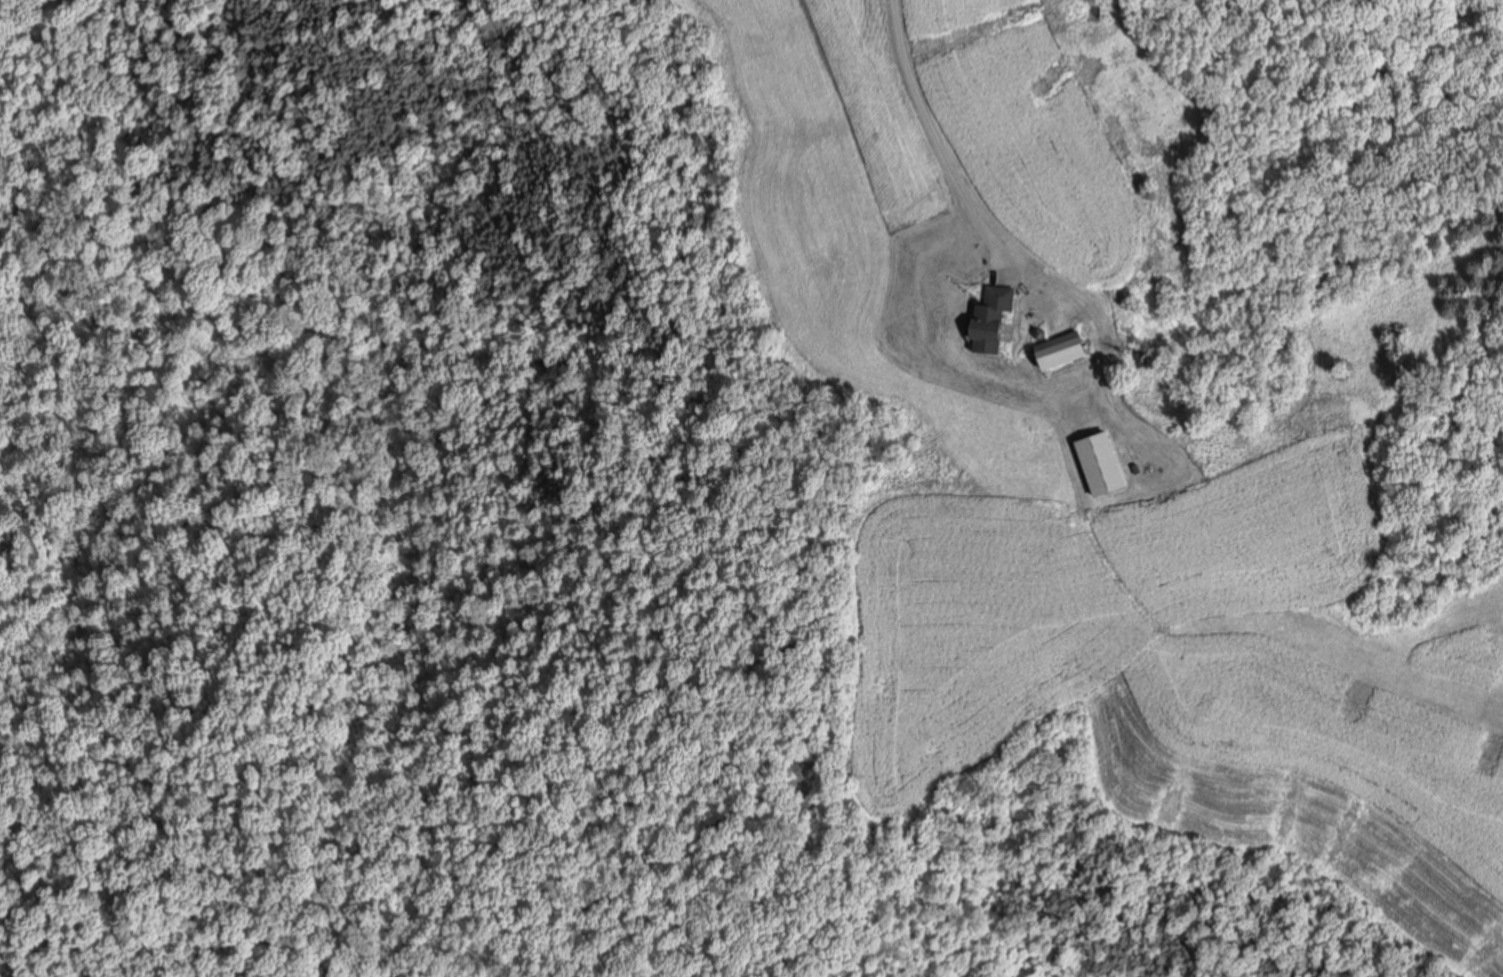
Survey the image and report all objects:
road: (934, 127)
building: (997, 313)
building: (1067, 348)
building: (1105, 463)

